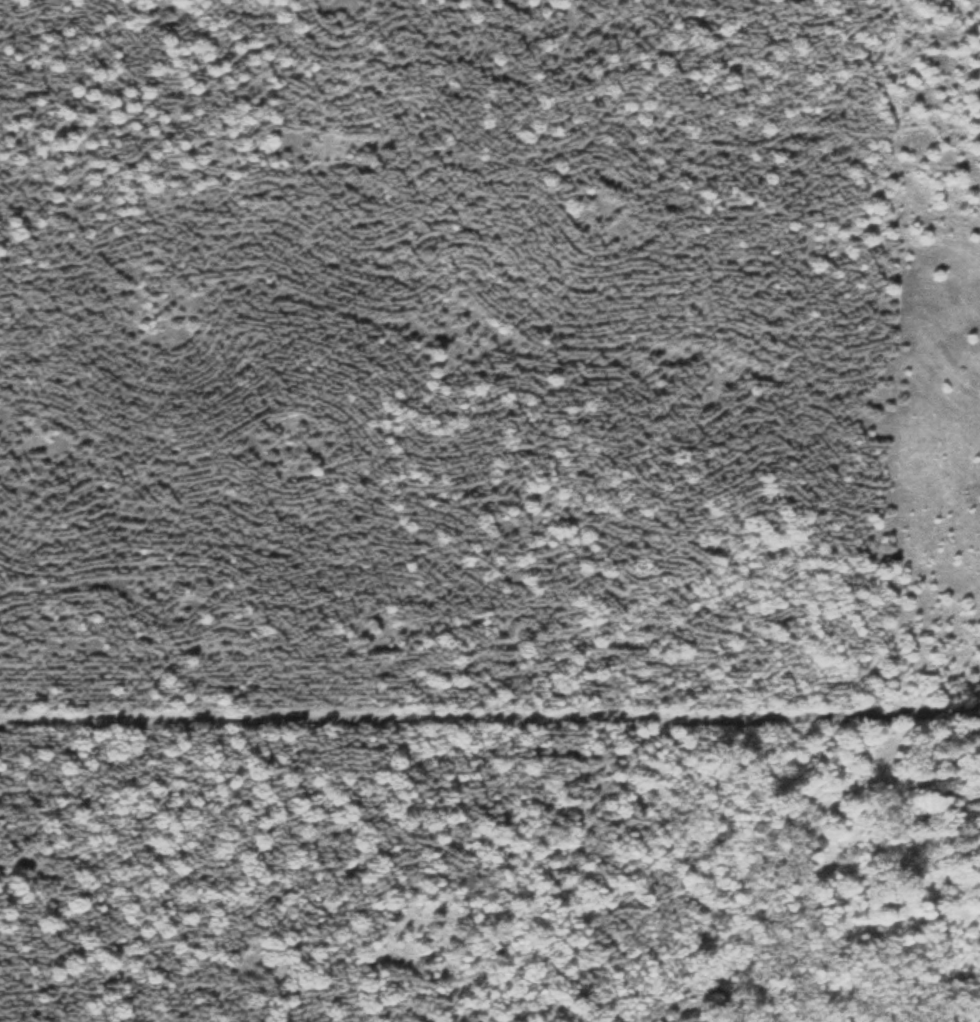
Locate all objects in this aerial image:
road: (490, 718)

